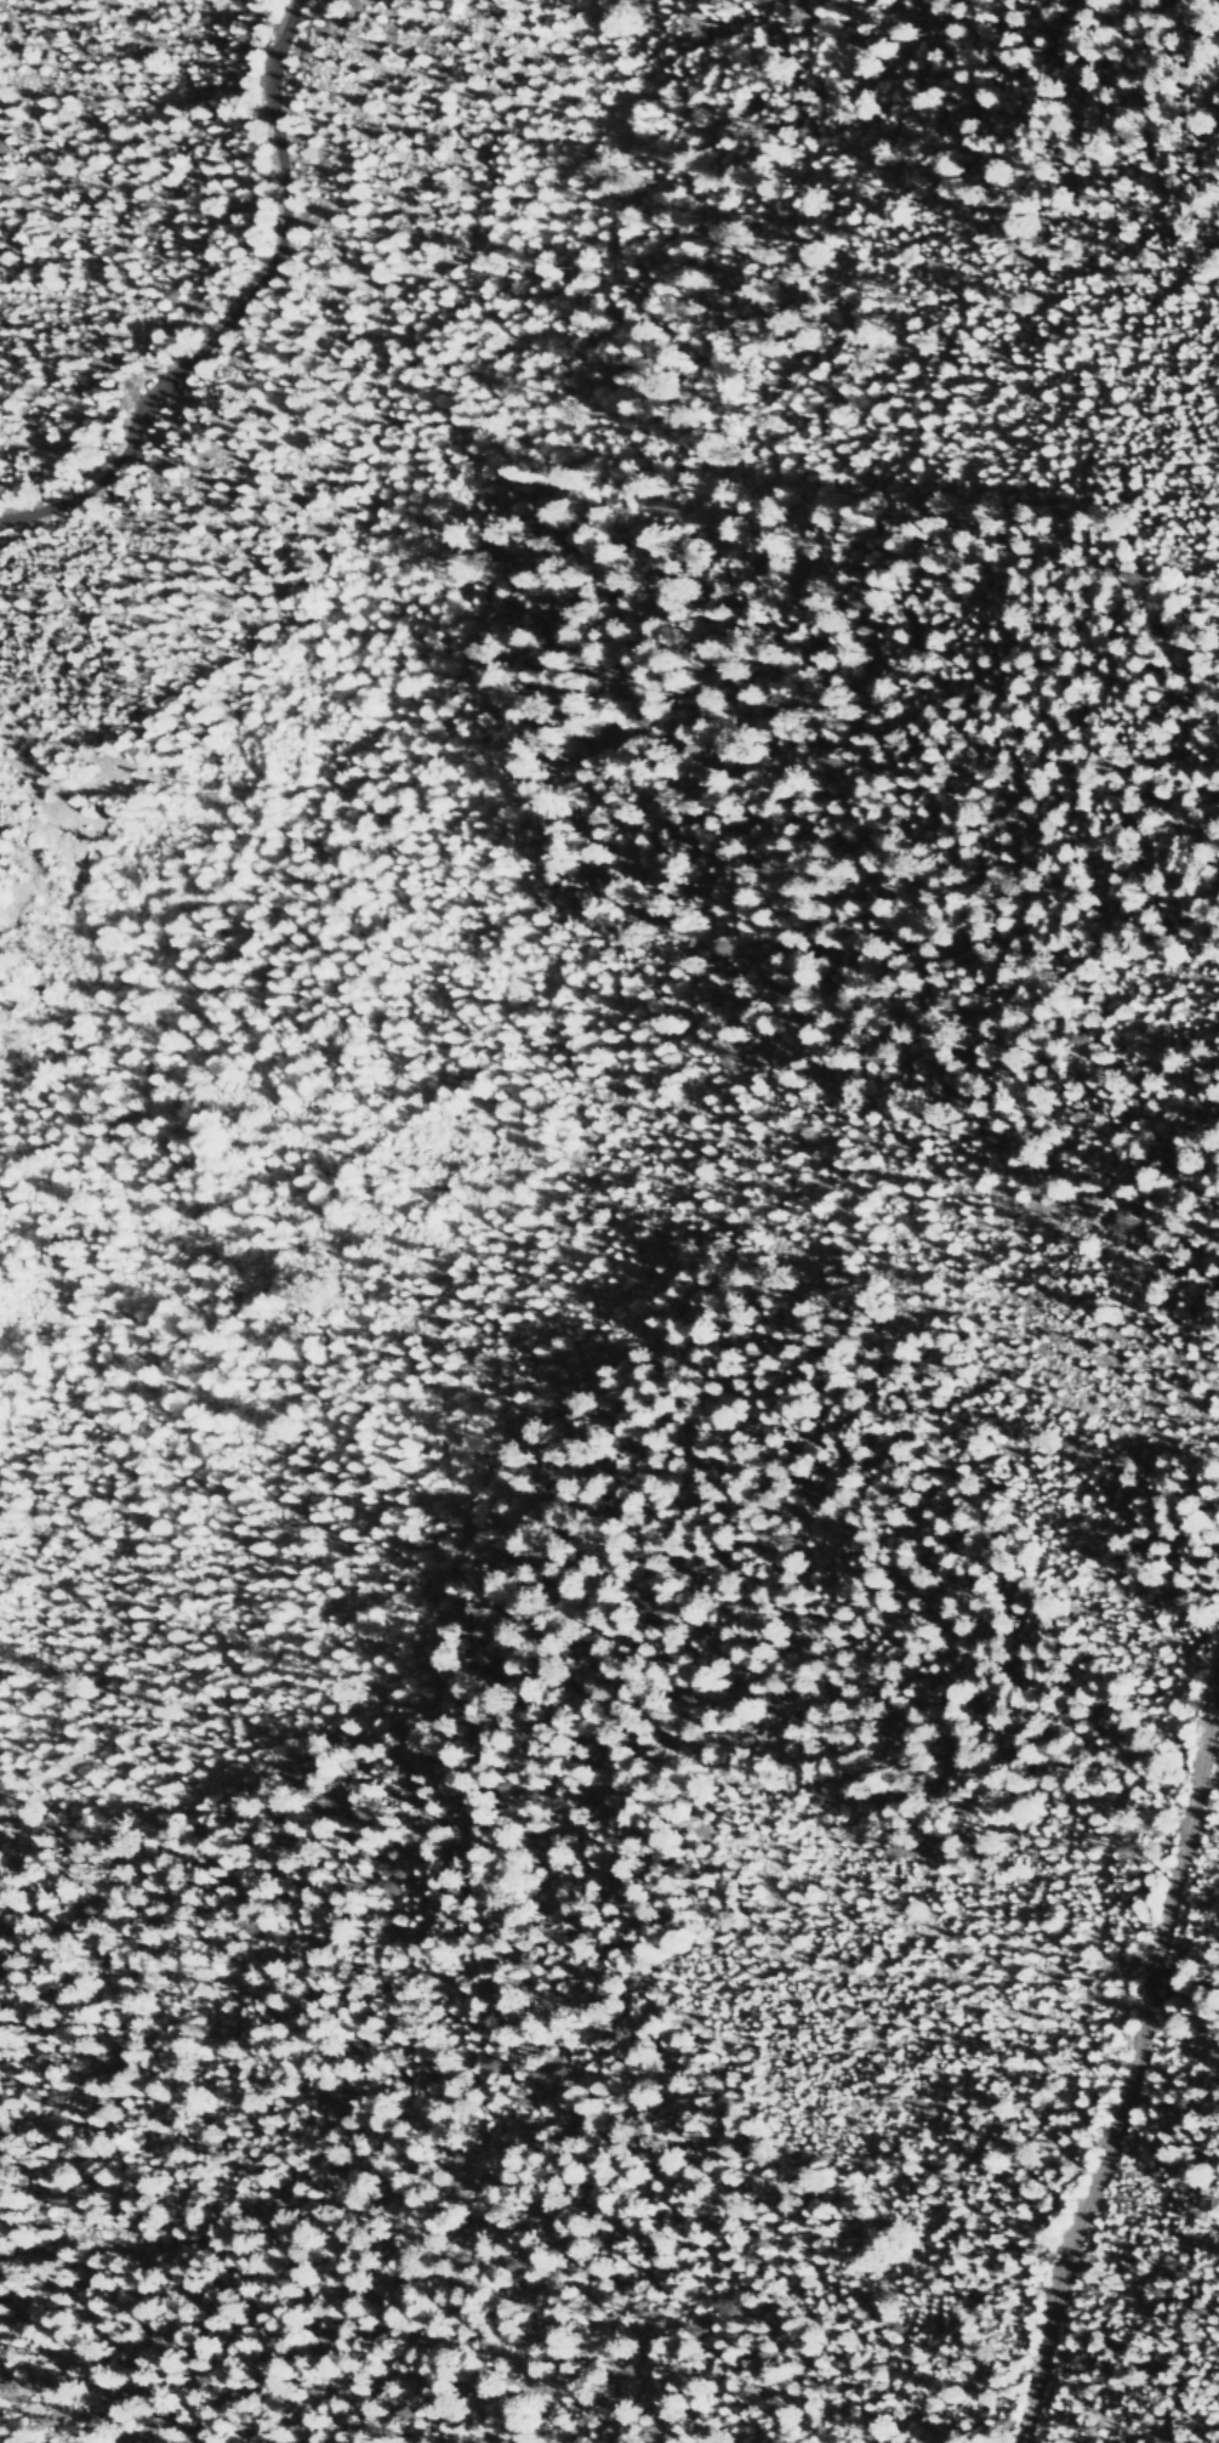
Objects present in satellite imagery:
road: (232, 308)
road: (1130, 2044)

